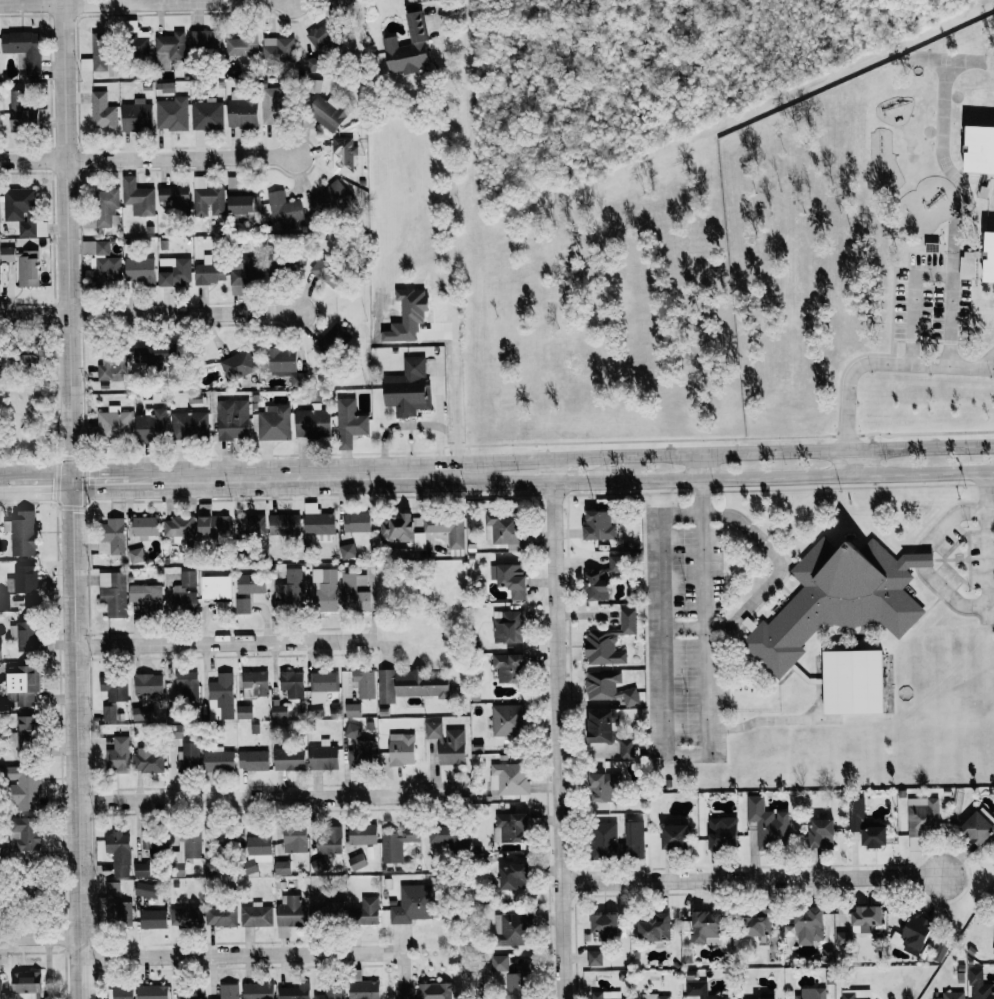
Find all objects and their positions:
road: (178, 1)
road: (31, 2)
building: (339, 5)
building: (135, 39)
building: (205, 42)
building: (241, 45)
building: (318, 46)
building: (23, 48)
building: (169, 48)
building: (408, 49)
building: (167, 87)
building: (274, 106)
building: (242, 109)
building: (22, 112)
building: (103, 112)
building: (327, 112)
building: (172, 113)
building: (136, 115)
building: (206, 115)
building: (980, 147)
building: (343, 154)
road: (147, 158)
building: (137, 197)
building: (241, 197)
building: (174, 198)
building: (332, 198)
building: (102, 208)
building: (284, 209)
road: (450, 243)
building: (989, 255)
building: (102, 261)
building: (23, 264)
building: (968, 264)
building: (140, 269)
building: (210, 269)
building: (174, 271)
building: (326, 273)
road: (934, 273)
road: (148, 314)
building: (338, 333)
building: (149, 354)
road: (884, 363)
building: (238, 364)
building: (283, 364)
building: (111, 366)
road: (992, 367)
building: (0, 382)
building: (408, 388)
road: (69, 400)
building: (233, 419)
building: (312, 421)
building: (274, 422)
building: (349, 422)
building: (189, 424)
road: (416, 424)
building: (112, 425)
building: (152, 425)
road: (712, 453)
road: (847, 462)
road: (287, 474)
road: (107, 478)
road: (712, 478)
road: (39, 479)
road: (4, 480)
road: (990, 509)
road: (948, 520)
building: (357, 521)
building: (212, 523)
building: (251, 523)
building: (284, 524)
building: (599, 525)
building: (145, 526)
building: (177, 526)
building: (447, 529)
building: (503, 529)
building: (21, 531)
building: (402, 531)
building: (114, 534)
road: (987, 540)
building: (347, 551)
building: (136, 555)
road: (922, 560)
building: (593, 575)
building: (511, 578)
building: (23, 579)
building: (251, 583)
road: (771, 584)
building: (215, 587)
building: (290, 587)
building: (324, 589)
building: (184, 592)
building: (113, 593)
building: (355, 593)
building: (146, 596)
road: (950, 596)
building: (838, 599)
building: (4, 600)
building: (242, 606)
building: (507, 626)
building: (28, 636)
building: (610, 640)
road: (224, 643)
building: (0, 650)
building: (508, 667)
building: (23, 682)
building: (854, 682)
building: (292, 683)
building: (364, 683)
building: (148, 684)
building: (255, 684)
building: (412, 684)
building: (115, 687)
building: (609, 687)
building: (321, 689)
building: (221, 697)
building: (353, 710)
building: (244, 711)
building: (279, 711)
building: (109, 713)
building: (508, 719)
building: (600, 726)
road: (557, 728)
building: (26, 732)
building: (447, 742)
building: (358, 747)
building: (401, 749)
building: (627, 749)
road: (700, 754)
building: (118, 755)
building: (188, 755)
building: (323, 756)
building: (149, 759)
building: (289, 759)
building: (218, 760)
building: (253, 760)
building: (509, 778)
building: (604, 787)
building: (26, 788)
road: (269, 798)
building: (922, 815)
building: (767, 823)
building: (866, 825)
building: (511, 826)
building: (979, 826)
building: (362, 833)
building: (722, 833)
building: (821, 833)
building: (675, 834)
building: (24, 835)
building: (451, 836)
building: (294, 838)
building: (603, 839)
building: (329, 840)
building: (633, 840)
building: (397, 843)
building: (188, 846)
building: (119, 852)
building: (256, 853)
building: (356, 861)
building: (213, 867)
road: (77, 868)
building: (282, 868)
building: (142, 869)
building: (513, 877)
road: (751, 879)
building: (113, 889)
building: (147, 891)
building: (412, 904)
building: (329, 909)
building: (118, 911)
building: (364, 912)
building: (290, 914)
building: (221, 915)
building: (256, 915)
building: (186, 917)
building: (152, 919)
building: (865, 919)
building: (604, 924)
building: (758, 924)
building: (809, 925)
building: (655, 928)
building: (511, 929)
building: (707, 929)
road: (39, 936)
building: (842, 938)
building: (993, 952)
road: (230, 954)
building: (594, 958)
road: (80, 967)
building: (508, 980)
building: (27, 985)
building: (979, 985)
building: (0, 990)
building: (258, 990)
building: (190, 991)
building: (229, 991)
building: (434, 991)
building: (700, 991)
building: (123, 992)
building: (152, 992)
building: (294, 992)
building: (403, 993)
building: (811, 993)
building: (856, 994)
building: (328, 995)
building: (606, 995)
building: (951, 995)
building: (656, 996)
building: (759, 998)

